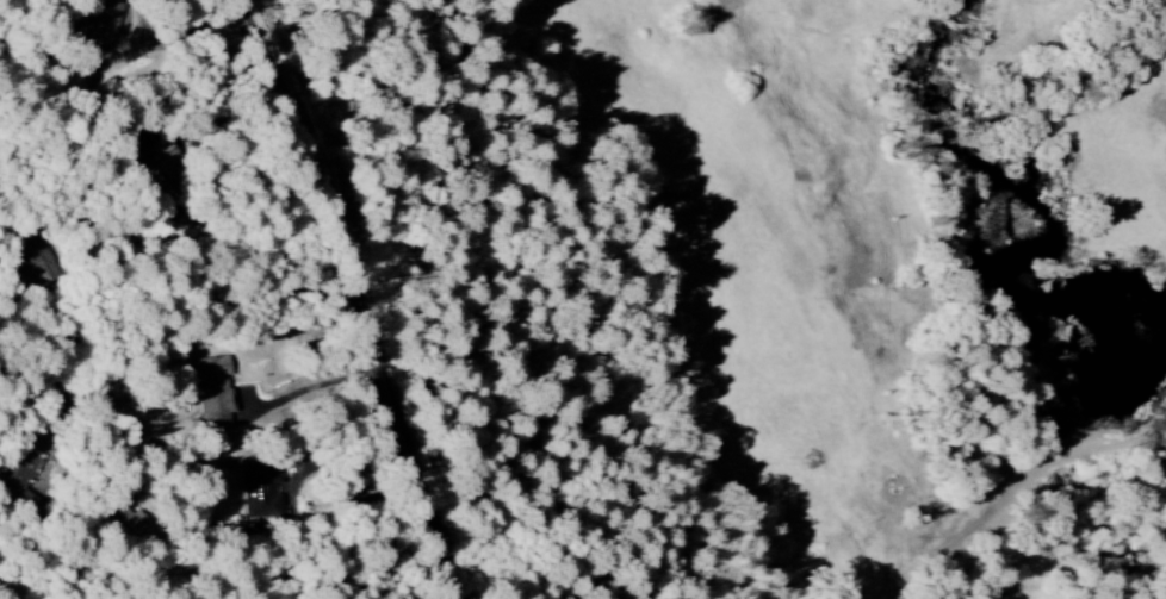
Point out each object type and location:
building: (105, 23)
building: (170, 166)
building: (36, 260)
road: (361, 293)
building: (212, 392)
building: (18, 472)
building: (258, 489)
building: (120, 520)
road: (7, 592)

